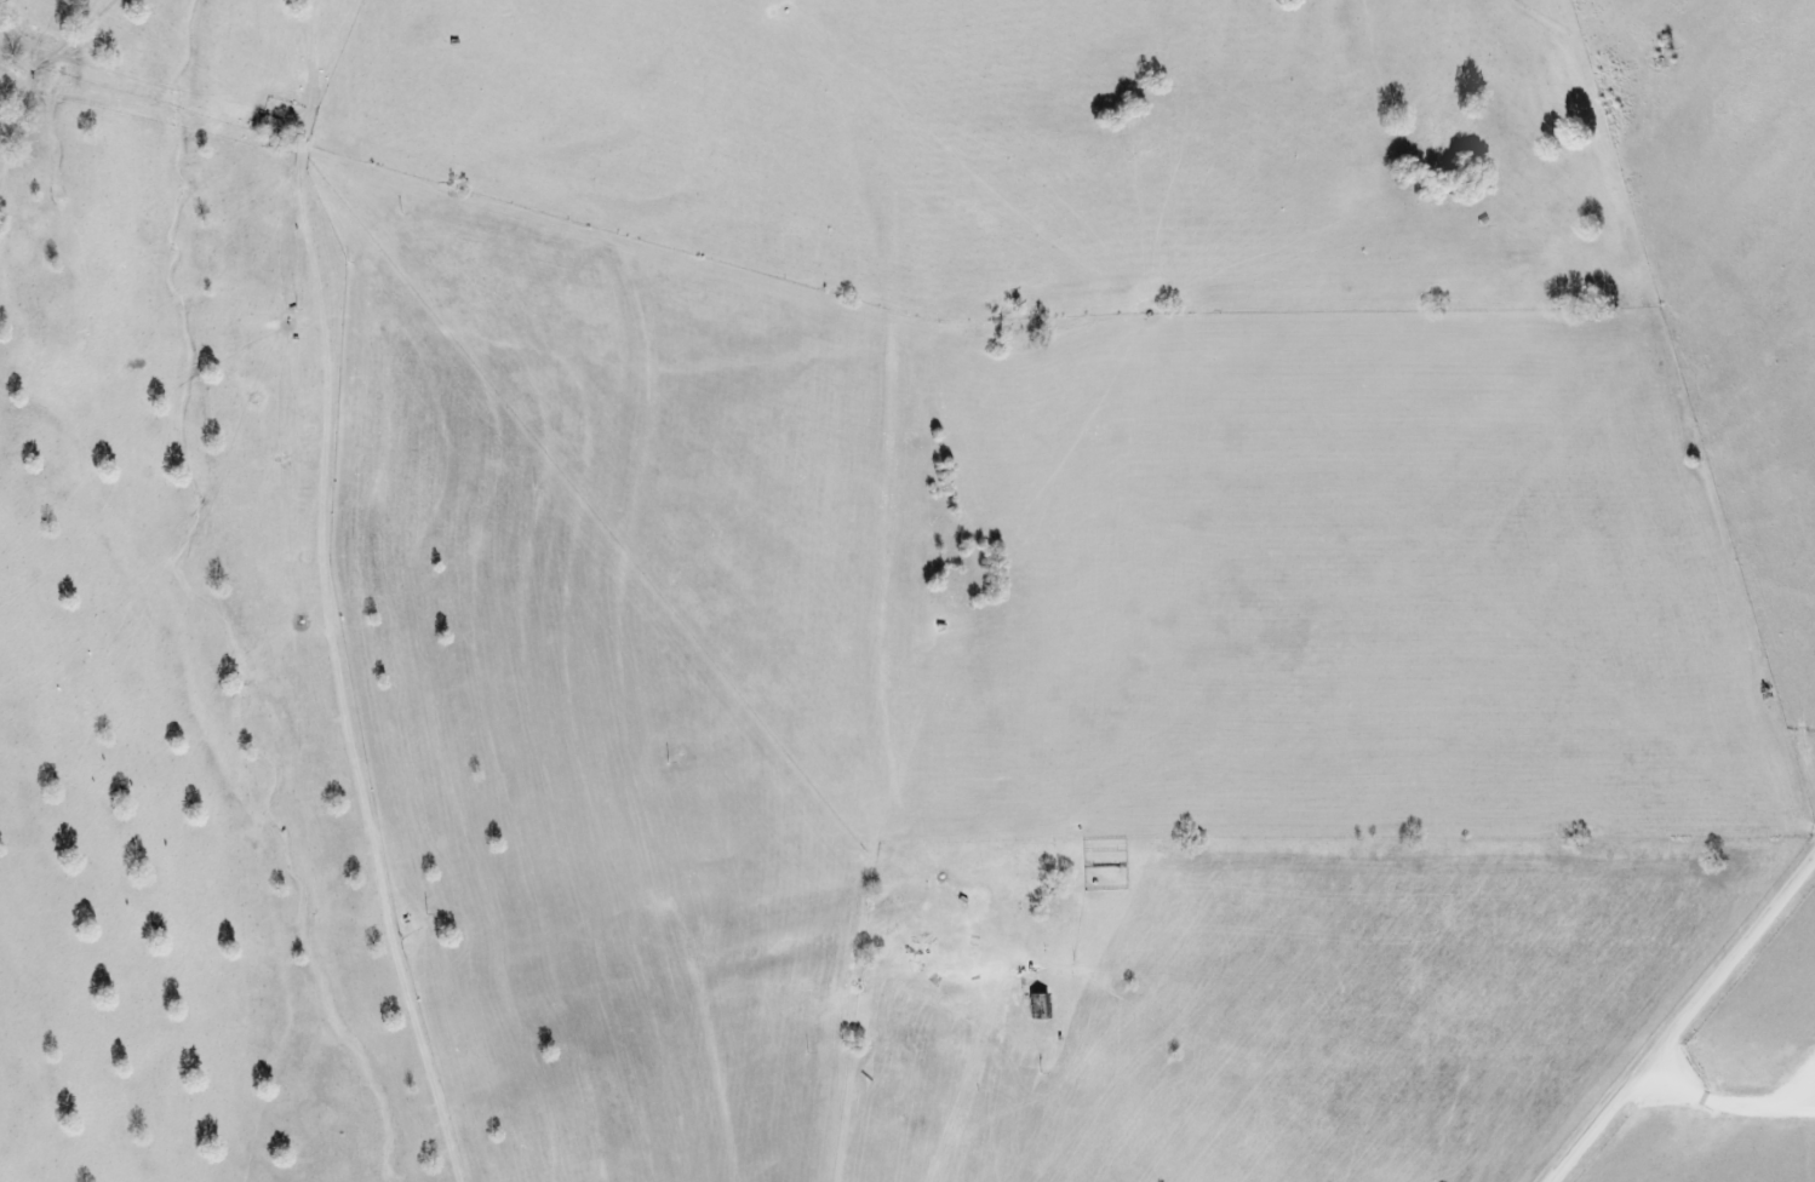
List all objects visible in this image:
road: (1684, 1021)
road: (1714, 1111)

